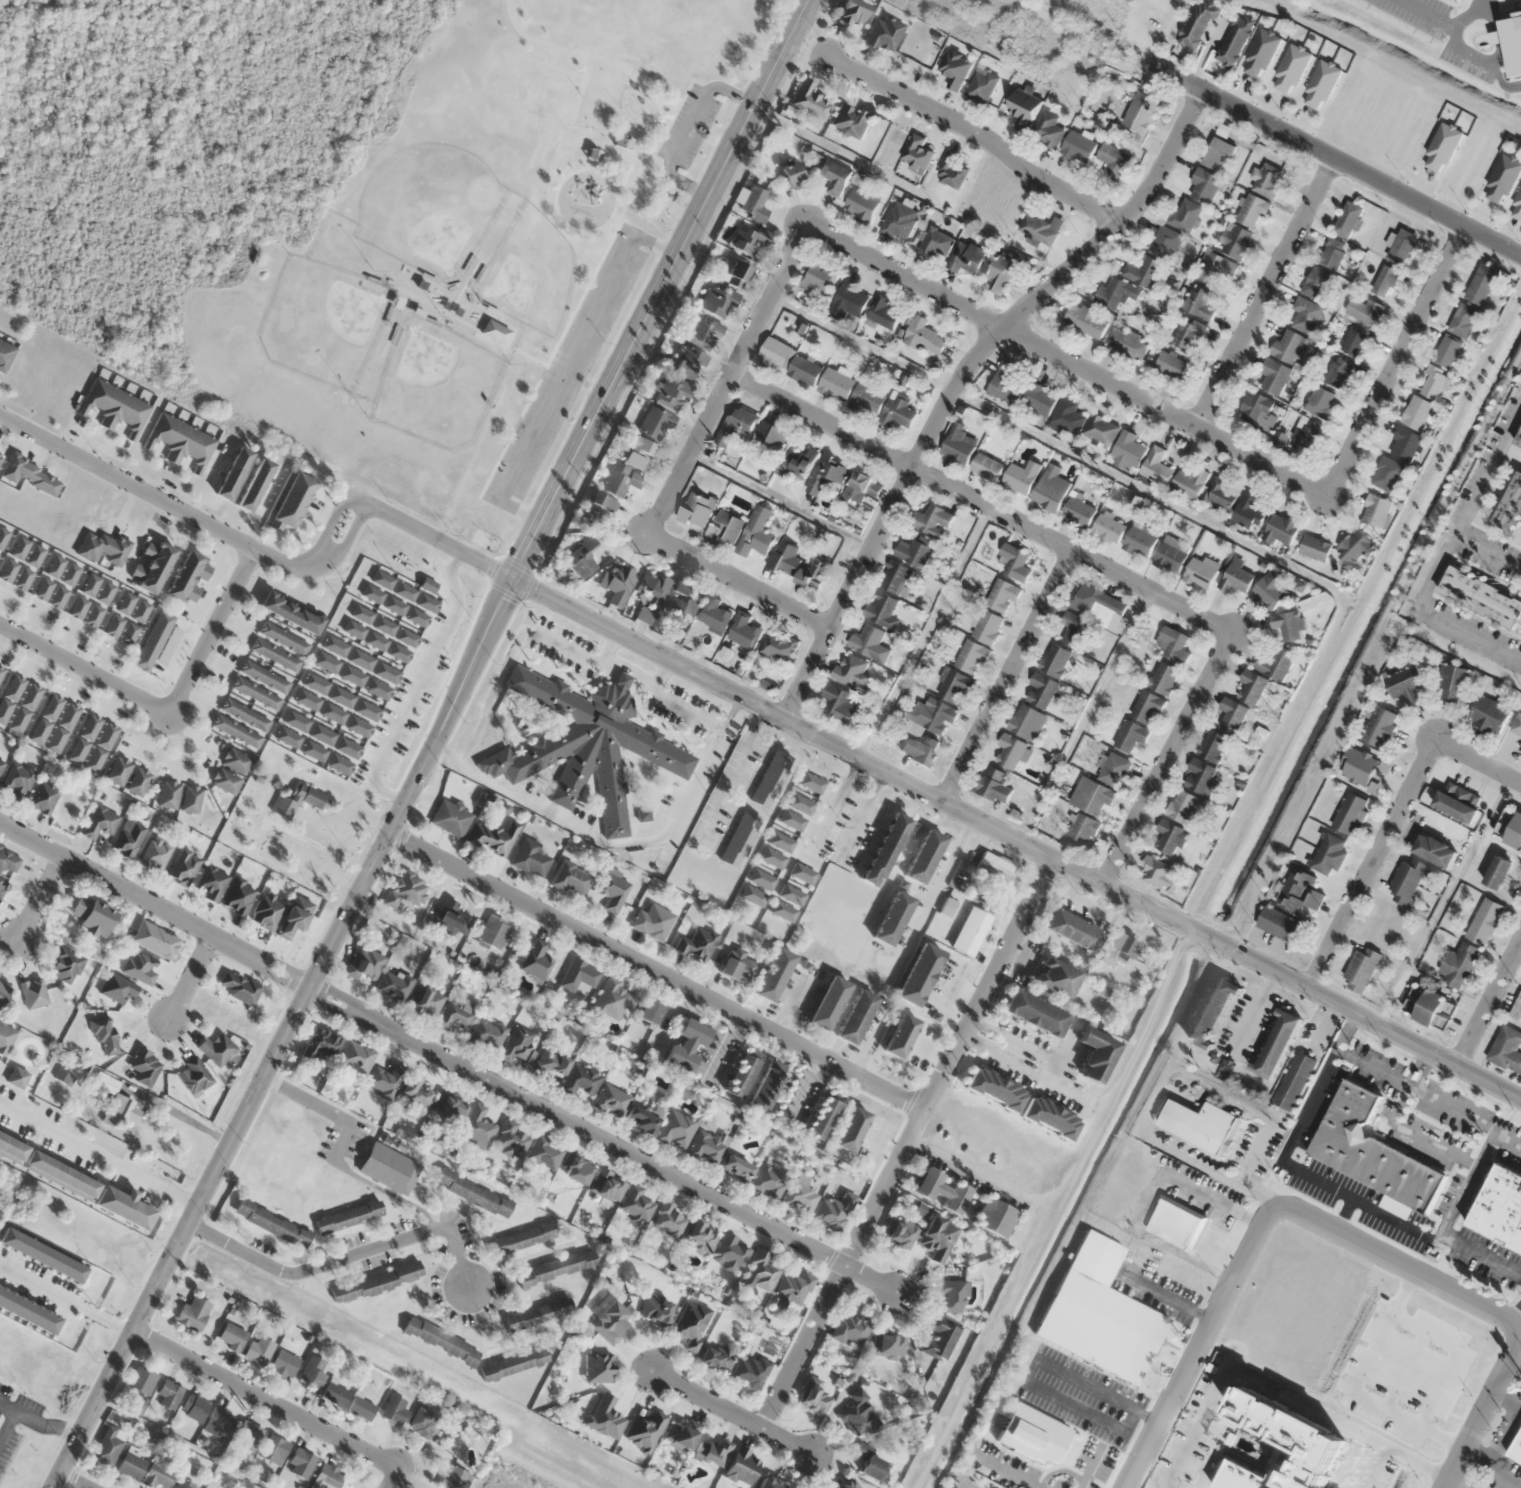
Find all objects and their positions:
building: (850, 11)
building: (1198, 22)
building: (883, 33)
building: (1234, 40)
road: (573, 50)
building: (954, 68)
building: (981, 85)
park: (598, 100)
building: (810, 100)
building: (1023, 110)
building: (1140, 111)
road: (648, 114)
building: (852, 120)
parking lot: (690, 126)
road: (612, 127)
road: (689, 128)
building: (1048, 129)
road: (978, 135)
building: (1078, 146)
building: (916, 153)
building: (1218, 154)
road: (1329, 156)
building: (1113, 161)
building: (951, 170)
building: (791, 172)
building: (833, 175)
building: (1267, 180)
building: (1203, 183)
road: (615, 193)
park: (362, 204)
building: (754, 204)
building: (860, 204)
park: (432, 210)
building: (1251, 210)
building: (1184, 215)
building: (1347, 219)
building: (899, 220)
building: (1039, 230)
building: (749, 240)
building: (1236, 241)
building: (936, 242)
building: (1164, 242)
building: (1402, 246)
building: (1331, 252)
building: (966, 257)
building: (1216, 268)
building: (1143, 271)
building: (999, 272)
building: (735, 273)
park: (532, 274)
building: (818, 279)
building: (1385, 280)
building: (1314, 281)
building: (1481, 283)
road: (464, 287)
road: (664, 290)
road: (1263, 290)
building: (1115, 293)
building: (848, 300)
building: (718, 301)
building: (1201, 303)
road: (437, 306)
building: (1364, 310)
building: (882, 313)
building: (1305, 313)
building: (1085, 319)
building: (1463, 320)
park: (325, 322)
road: (397, 324)
building: (495, 331)
road: (477, 332)
building: (1189, 332)
building: (701, 333)
building: (924, 336)
building: (1126, 343)
building: (1353, 343)
building: (1289, 346)
building: (1447, 351)
road: (553, 352)
building: (5, 354)
road: (528, 355)
building: (790, 361)
building: (688, 362)
building: (1171, 364)
parking lot: (568, 367)
road: (566, 370)
building: (1338, 372)
building: (1274, 375)
road: (961, 379)
building: (837, 383)
building: (1433, 383)
building: (1007, 384)
park: (437, 385)
building: (670, 391)
building: (867, 399)
building: (1039, 399)
building: (1320, 401)
building: (115, 407)
building: (897, 411)
building: (1258, 411)
building: (1417, 412)
building: (1068, 416)
road: (706, 418)
building: (656, 423)
building: (737, 425)
building: (1101, 429)
building: (769, 435)
building: (1305, 436)
building: (1280, 438)
building: (1519, 440)
building: (181, 441)
building: (1404, 444)
building: (958, 445)
building: (1128, 451)
building: (639, 452)
road: (1251, 453)
building: (0, 455)
building: (797, 462)
building: (1155, 465)
building: (986, 467)
building: (233, 473)
building: (827, 473)
building: (1386, 473)
building: (30, 475)
building: (1021, 477)
road: (125, 479)
building: (621, 479)
building: (1190, 483)
building: (255, 484)
building: (862, 486)
building: (1050, 488)
building: (1222, 493)
building: (292, 501)
building: (598, 505)
building: (695, 509)
building: (1376, 510)
building: (1078, 511)
building: (1248, 512)
building: (1508, 515)
building: (932, 520)
building: (725, 526)
building: (1109, 527)
building: (1280, 530)
building: (756, 535)
building: (3, 536)
building: (1140, 538)
road: (439, 539)
building: (1354, 546)
building: (20, 548)
building: (103, 548)
building: (1314, 548)
road: (1443, 550)
road: (1487, 550)
building: (914, 552)
building: (1171, 554)
building: (35, 556)
building: (582, 557)
building: (784, 558)
road: (320, 561)
building: (1015, 562)
road: (1102, 564)
building: (152, 565)
building: (55, 566)
building: (8, 570)
building: (1201, 571)
building: (70, 574)
building: (812, 574)
building: (190, 577)
building: (895, 577)
building: (23, 578)
building: (1236, 578)
building: (91, 585)
building: (619, 585)
building: (43, 588)
building: (1271, 589)
building: (58, 596)
building: (1002, 596)
building: (1481, 596)
building: (667, 597)
building: (100, 604)
building: (126, 604)
building: (1099, 606)
building: (78, 607)
building: (882, 609)
building: (290, 613)
building: (714, 613)
building: (135, 622)
building: (1289, 625)
building: (114, 626)
building: (986, 626)
building: (1075, 630)
building: (744, 631)
building: (284, 638)
building: (870, 643)
building: (1174, 644)
building: (777, 646)
building: (275, 655)
building: (970, 656)
building: (1055, 660)
building: (1273, 664)
building: (0, 669)
building: (851, 671)
road: (1008, 674)
building: (264, 677)
building: (1163, 677)
building: (1453, 683)
building: (952, 684)
building: (1405, 684)
building: (1252, 687)
building: (1041, 690)
building: (256, 693)
building: (10, 697)
building: (838, 702)
building: (1147, 707)
building: (25, 708)
road: (166, 710)
building: (245, 715)
building: (932, 715)
building: (1233, 715)
building: (1488, 715)
building: (46, 719)
building: (1024, 720)
building: (1516, 725)
building: (1379, 726)
building: (63, 728)
building: (236, 731)
building: (1130, 735)
building: (84, 739)
building: (585, 744)
building: (1214, 745)
building: (101, 747)
building: (920, 750)
building: (1013, 751)
building: (1520, 754)
building: (236, 761)
building: (1, 765)
building: (1114, 769)
building: (1365, 770)
building: (118, 771)
building: (1200, 776)
building: (772, 779)
building: (18, 780)
building: (139, 781)
building: (226, 781)
road: (913, 784)
building: (993, 786)
building: (169, 795)
building: (1091, 795)
building: (43, 797)
building: (191, 799)
building: (300, 800)
building: (1458, 802)
building: (1186, 808)
building: (1349, 814)
building: (451, 818)
building: (100, 821)
road: (1392, 821)
building: (1081, 830)
building: (1515, 833)
building: (493, 837)
building: (1171, 838)
building: (128, 839)
building: (741, 839)
building: (885, 849)
building: (1435, 850)
building: (156, 855)
building: (1329, 855)
building: (924, 856)
building: (531, 858)
building: (8, 862)
building: (996, 865)
building: (184, 868)
building: (1498, 873)
building: (1159, 875)
building: (571, 879)
building: (1406, 880)
building: (212, 882)
building: (2, 886)
building: (613, 889)
building: (407, 890)
building: (1299, 891)
building: (239, 896)
road: (41, 897)
road: (156, 904)
building: (948, 907)
building: (267, 912)
building: (93, 917)
building: (294, 918)
building: (452, 919)
building: (892, 919)
building: (653, 921)
building: (1485, 921)
building: (1383, 924)
building: (1282, 926)
building: (1073, 930)
building: (970, 932)
building: (494, 933)
building: (697, 944)
building: (1122, 944)
building: (537, 960)
building: (365, 963)
building: (1458, 965)
building: (738, 966)
building: (139, 968)
building: (1360, 969)
road: (193, 974)
road: (655, 974)
building: (774, 974)
building: (919, 974)
building: (579, 975)
building: (1056, 977)
road: (988, 985)
building: (395, 986)
building: (238, 987)
building: (117, 988)
building: (34, 993)
building: (3, 994)
building: (611, 999)
road: (1489, 1000)
building: (426, 1002)
building: (828, 1003)
road: (791, 1008)
building: (1433, 1010)
building: (1212, 1011)
building: (649, 1012)
building: (456, 1014)
building: (1036, 1014)
building: (856, 1017)
road: (1382, 1023)
building: (6, 1034)
road: (287, 1034)
building: (487, 1034)
building: (105, 1036)
building: (900, 1036)
building: (321, 1043)
building: (1276, 1043)
building: (687, 1044)
building: (518, 1048)
road: (721, 1048)
building: (217, 1049)
building: (1506, 1049)
building: (1096, 1055)
building: (356, 1057)
building: (554, 1060)
road: (1415, 1065)
building: (144, 1066)
road: (1425, 1070)
building: (194, 1075)
building: (741, 1075)
building: (17, 1077)
building: (64, 1077)
building: (581, 1079)
road: (1489, 1079)
building: (385, 1080)
building: (1294, 1080)
building: (765, 1088)
building: (994, 1088)
road: (1419, 1091)
building: (418, 1093)
building: (612, 1099)
building: (116, 1102)
building: (450, 1107)
building: (1050, 1116)
building: (822, 1117)
building: (641, 1119)
building: (1200, 1124)
building: (477, 1127)
building: (676, 1128)
building: (851, 1128)
road: (604, 1137)
road: (1416, 1138)
building: (512, 1140)
building: (706, 1146)
building: (546, 1152)
road: (100, 1153)
building: (1373, 1153)
building: (388, 1167)
building: (736, 1167)
building: (577, 1169)
road: (1474, 1174)
building: (75, 1179)
building: (770, 1179)
building: (608, 1184)
road: (1325, 1185)
building: (940, 1190)
building: (473, 1193)
building: (801, 1196)
building: (637, 1203)
building: (1500, 1207)
building: (835, 1211)
road: (1341, 1213)
building: (349, 1216)
building: (993, 1216)
building: (669, 1219)
building: (272, 1222)
building: (1176, 1224)
building: (900, 1233)
building: (699, 1237)
building: (522, 1238)
building: (938, 1238)
building: (730, 1252)
building: (42, 1254)
road: (1398, 1264)
building: (556, 1267)
road: (840, 1270)
building: (761, 1271)
building: (376, 1282)
building: (792, 1289)
building: (952, 1295)
road: (67, 1299)
building: (656, 1309)
building: (28, 1311)
building: (193, 1313)
building: (538, 1313)
building: (1101, 1313)
road: (1512, 1313)
building: (612, 1321)
building: (692, 1323)
building: (851, 1327)
building: (231, 1336)
building: (940, 1337)
building: (441, 1340)
building: (888, 1344)
road: (1196, 1346)
building: (259, 1349)
building: (716, 1359)
building: (284, 1363)
building: (513, 1363)
road: (1513, 1365)
building: (598, 1367)
building: (751, 1371)
building: (312, 1375)
building: (142, 1381)
building: (334, 1393)
building: (168, 1394)
building: (815, 1397)
road: (277, 1405)
building: (194, 1407)
building: (361, 1407)
building: (394, 1409)
road: (1480, 1412)
road: (731, 1413)
building: (858, 1413)
road: (39, 1422)
building: (219, 1422)
building: (428, 1424)
road: (7, 1425)
building: (644, 1431)
building: (682, 1433)
building: (1032, 1434)
building: (247, 1435)
building: (107, 1447)
building: (274, 1449)
building: (712, 1450)
building: (1516, 1450)
building: (869, 1461)
building: (300, 1462)
building: (131, 1465)
building: (744, 1466)
building: (158, 1476)
building: (326, 1476)
road: (1461, 1480)
road: (71, 1482)
building: (769, 1483)
building: (848, 1483)
building: (185, 1484)

